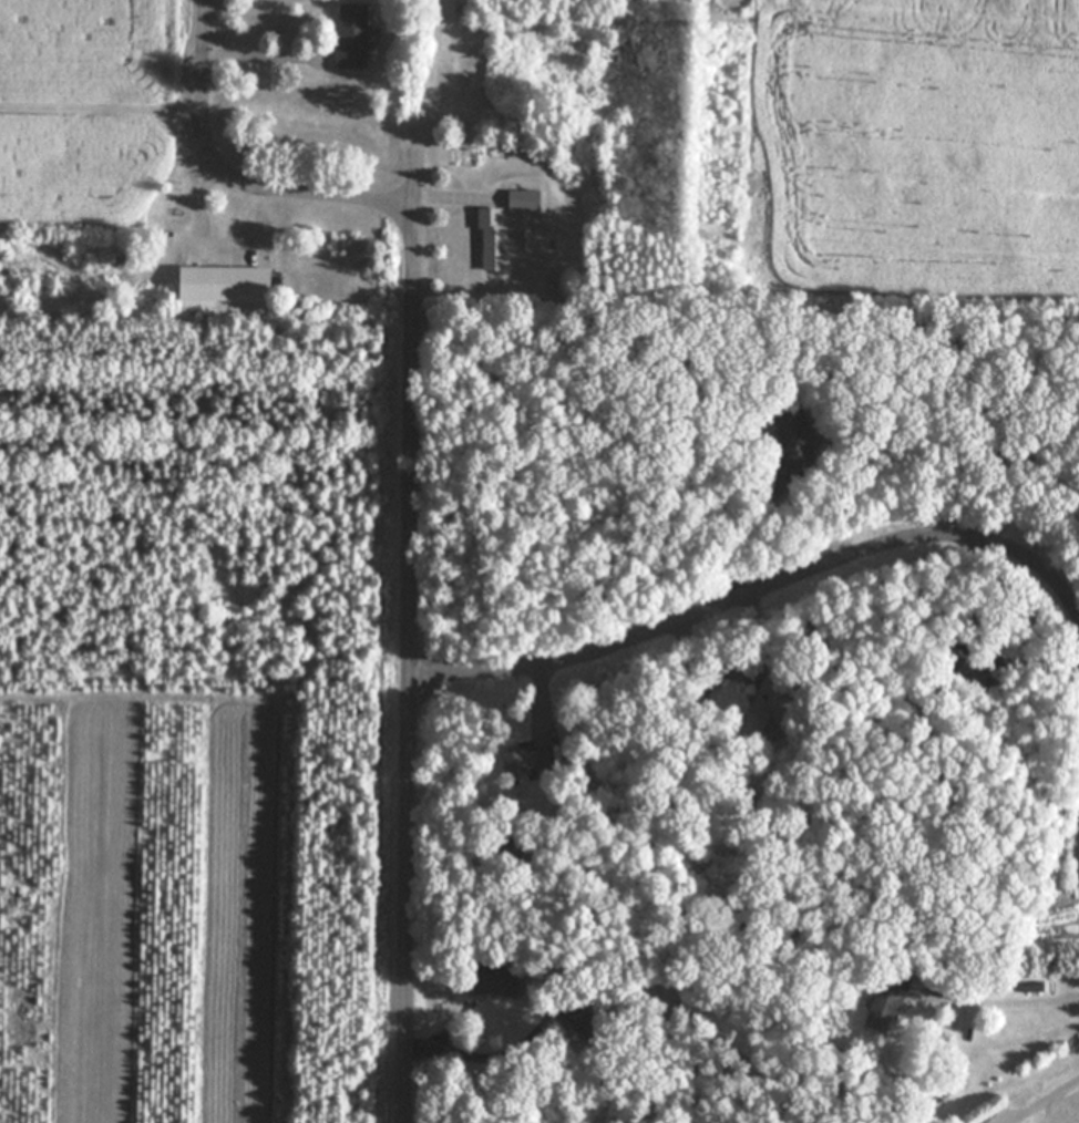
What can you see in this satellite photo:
building: (353, 35)
road: (264, 59)
road: (434, 79)
road: (102, 109)
road: (234, 172)
road: (414, 181)
road: (449, 197)
building: (525, 199)
road: (207, 234)
building: (494, 238)
building: (226, 282)
road: (757, 591)
road: (409, 663)
building: (769, 701)
building: (527, 759)
building: (493, 982)
road: (1024, 1002)
building: (884, 1008)
building: (588, 1019)

